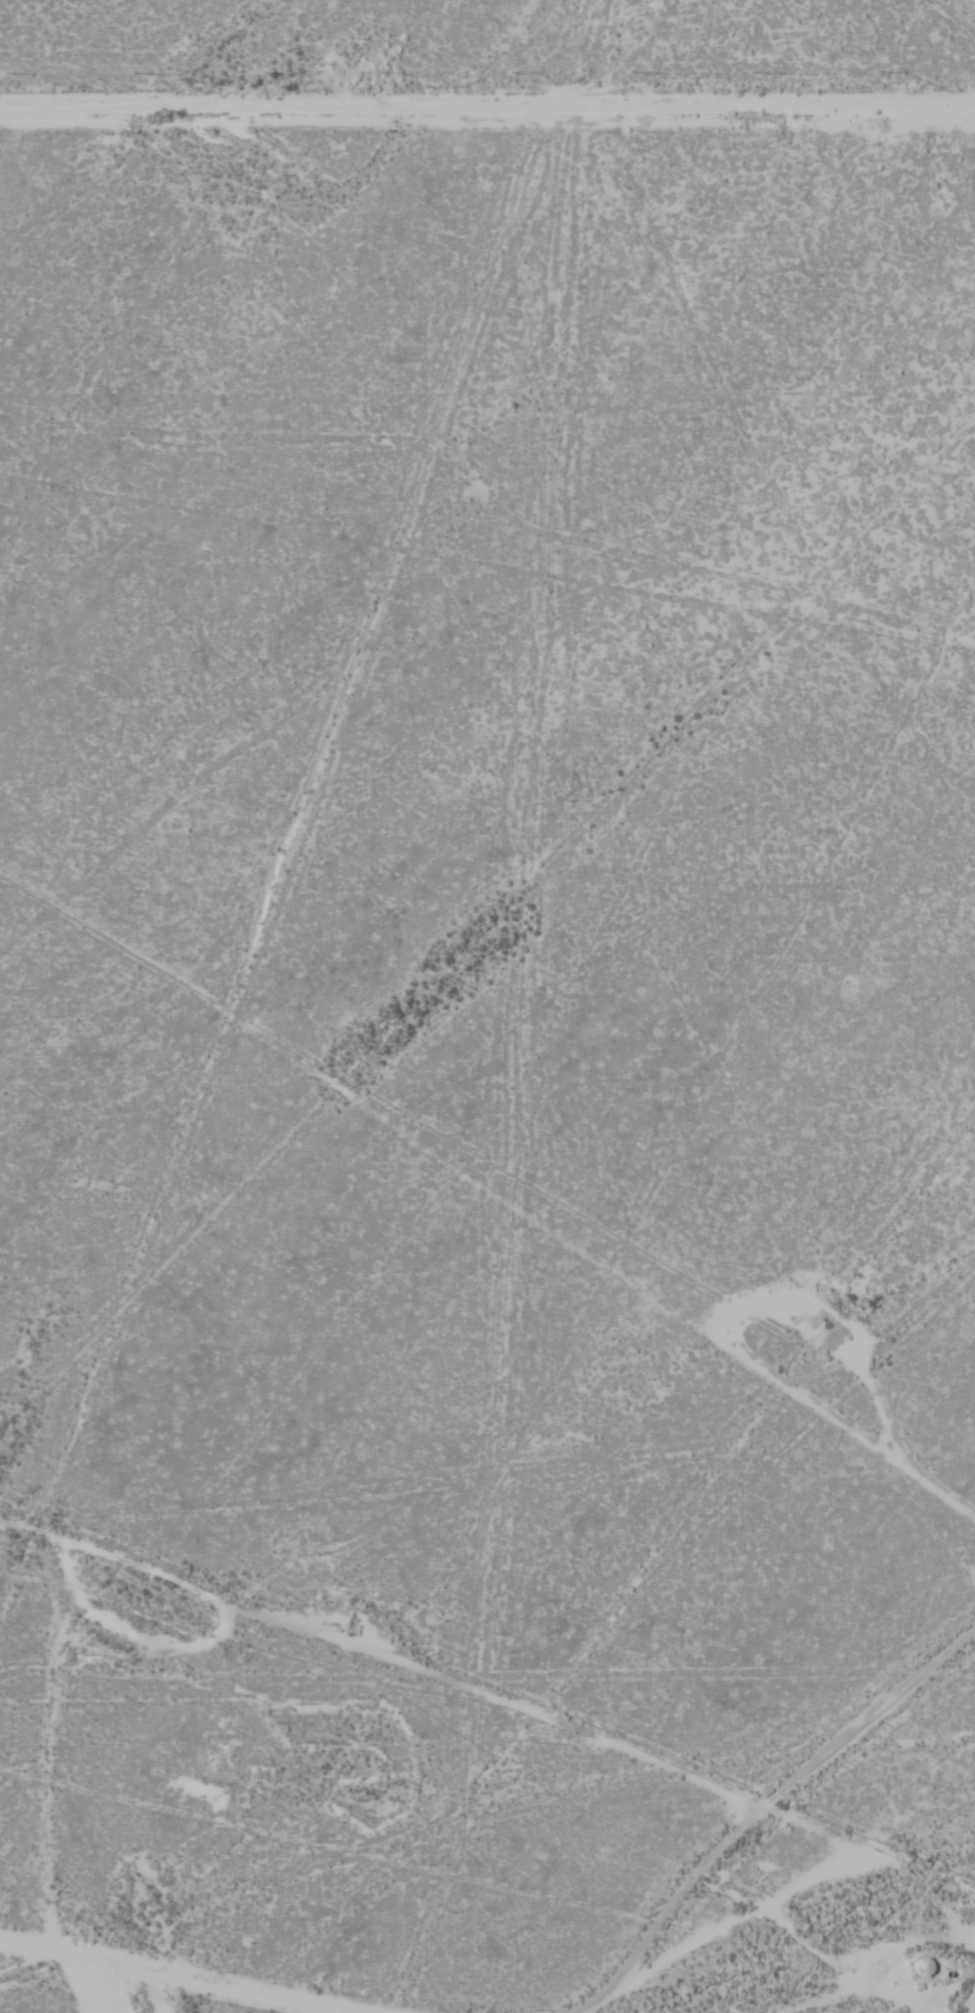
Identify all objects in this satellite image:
road: (771, 1823)
building: (923, 1968)

